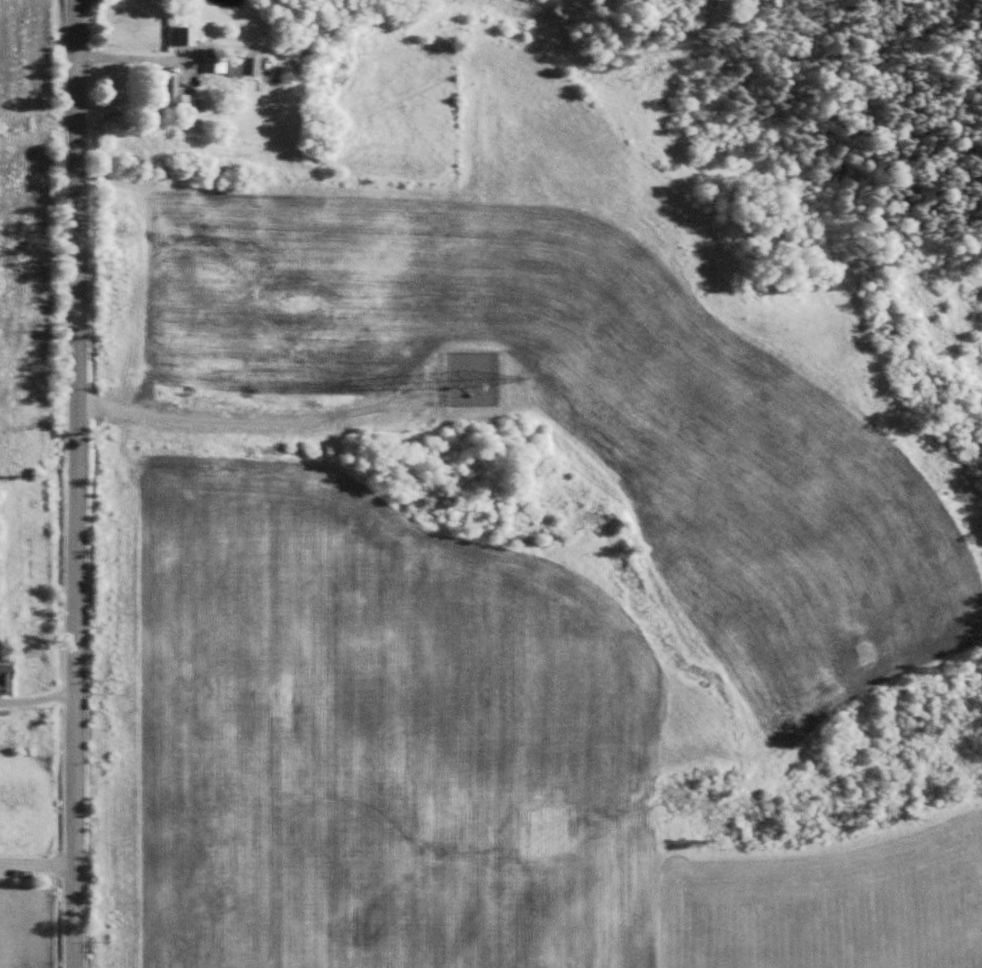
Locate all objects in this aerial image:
building: (216, 64)
building: (174, 89)
road: (76, 484)
building: (7, 680)
road: (38, 900)

